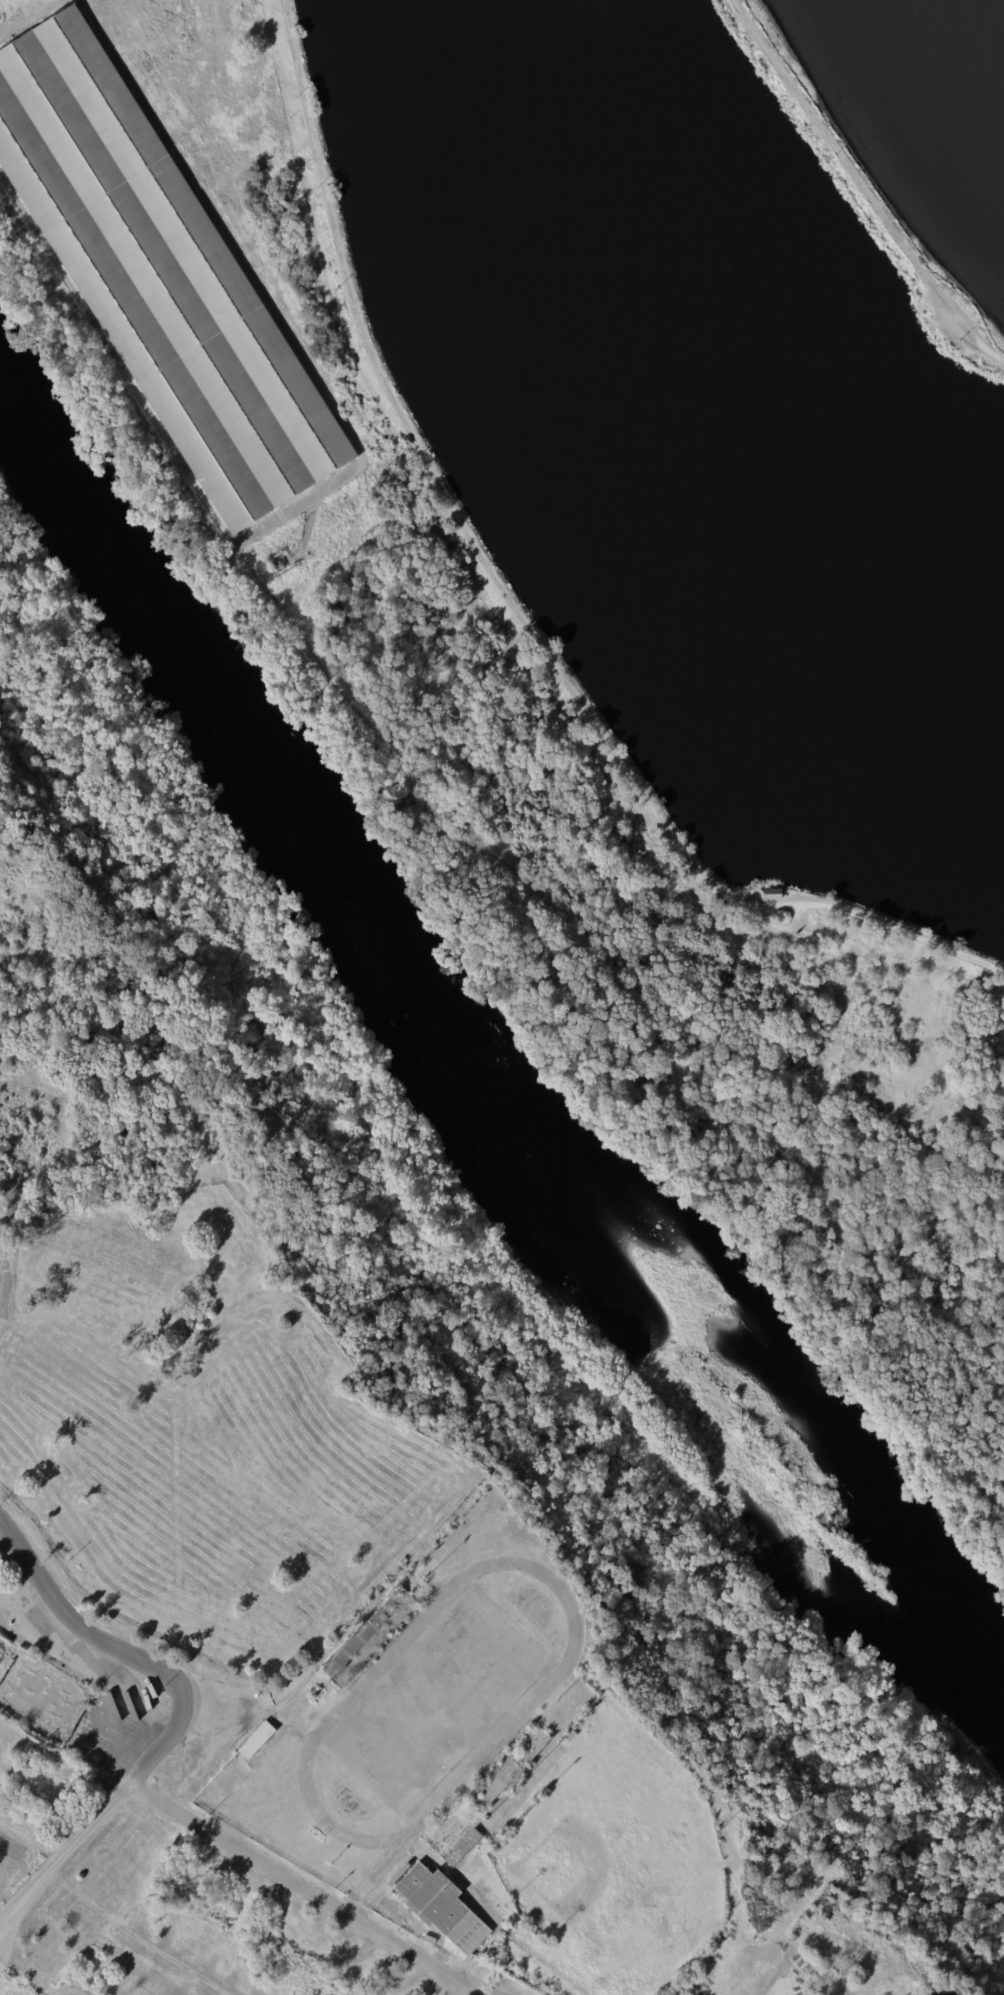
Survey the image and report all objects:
road: (284, 5)
road: (30, 19)
road: (824, 130)
road: (223, 229)
building: (159, 277)
road: (954, 315)
wastewater plant: (586, 359)
road: (115, 362)
road: (422, 457)
road: (299, 503)
building: (292, 546)
building: (277, 553)
building: (277, 565)
building: (774, 895)
road: (836, 909)
parking lot: (767, 913)
road: (611, 968)
road: (837, 1031)
river: (479, 1069)
road: (777, 1242)
road: (981, 1526)
building: (2, 1565)
road: (70, 1625)
building: (370, 1636)
building: (255, 1739)
road: (106, 1810)
building: (462, 1847)
building: (441, 1907)

